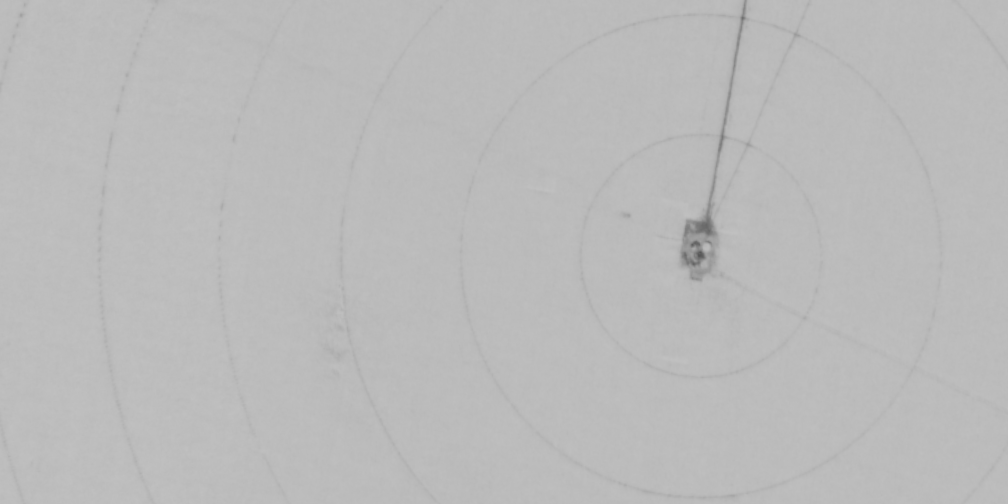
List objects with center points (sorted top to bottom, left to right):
crop: (504, 252)

